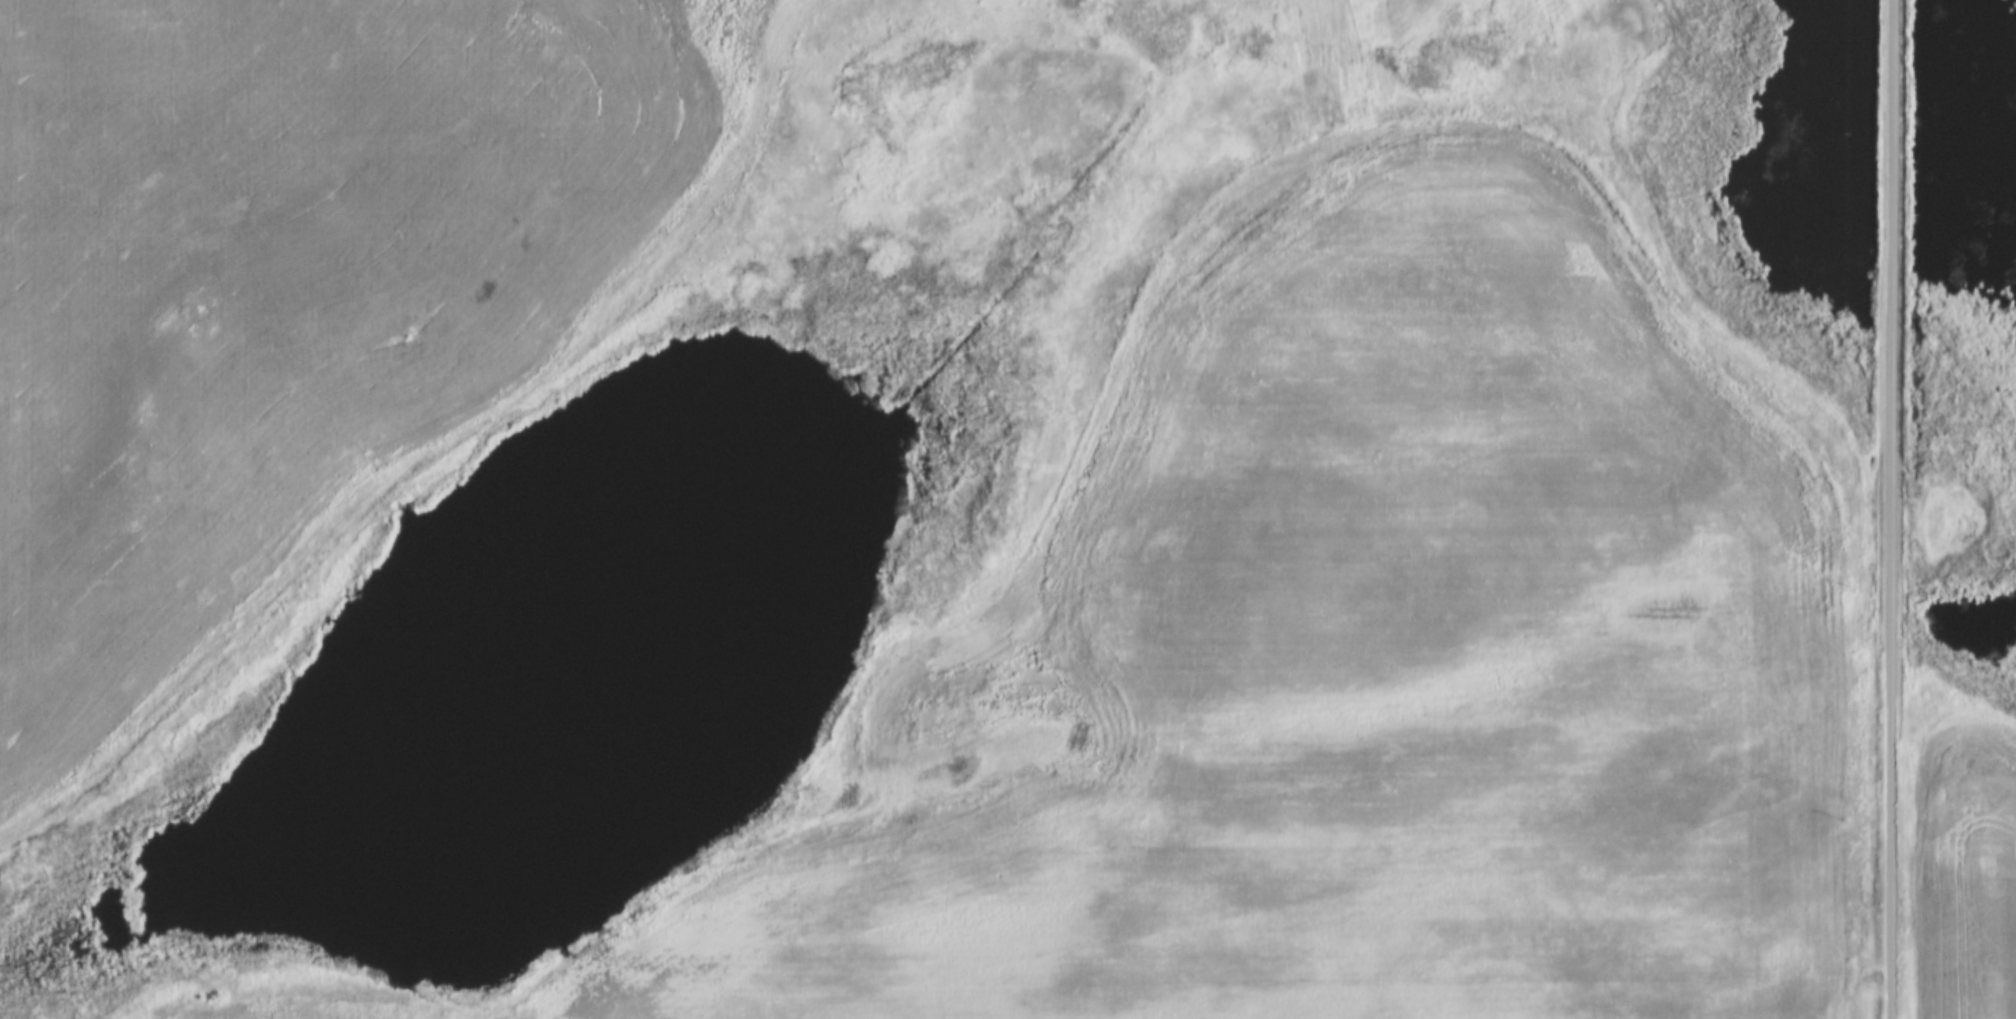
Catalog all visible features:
road: (1890, 509)

